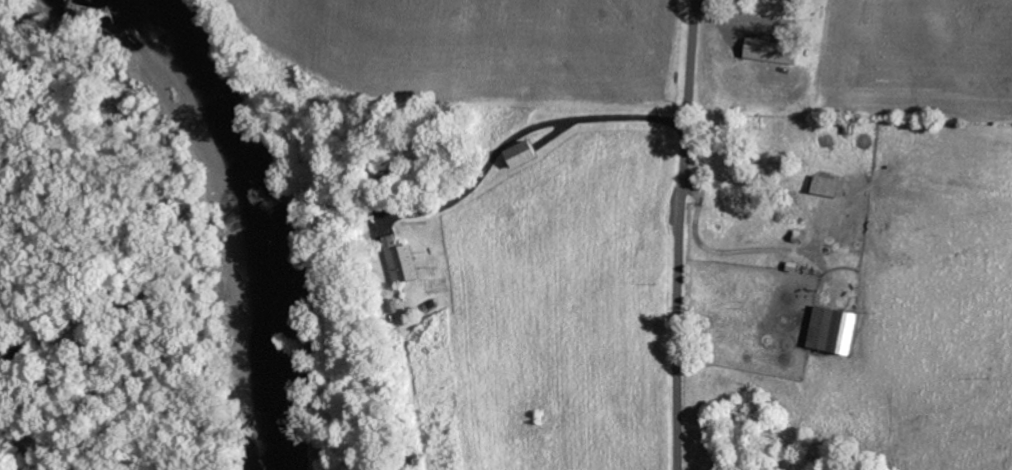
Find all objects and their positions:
building: (776, 49)
building: (530, 152)
building: (831, 185)
river: (256, 223)
road: (677, 234)
building: (401, 258)
building: (837, 328)

